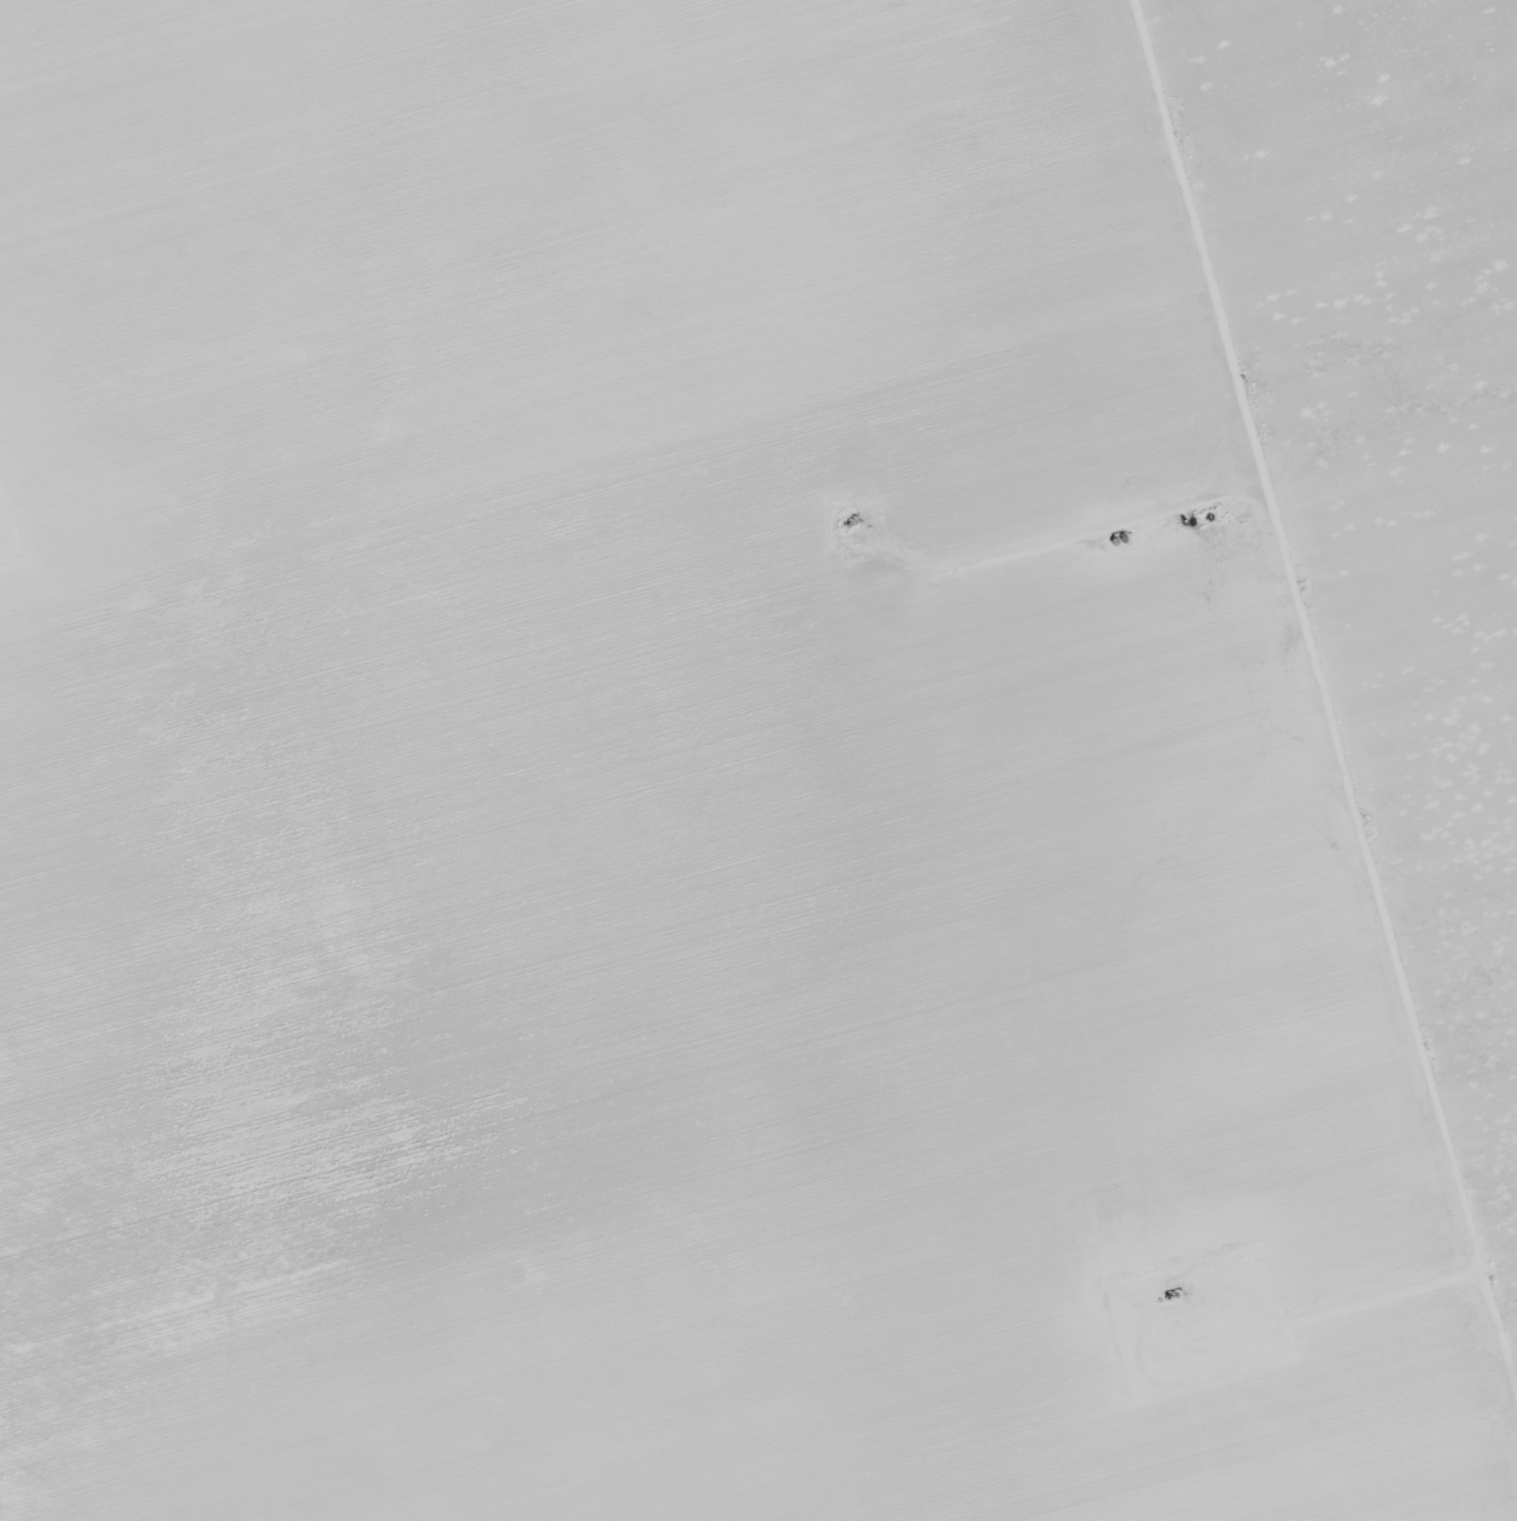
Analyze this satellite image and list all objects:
road: (1325, 672)

